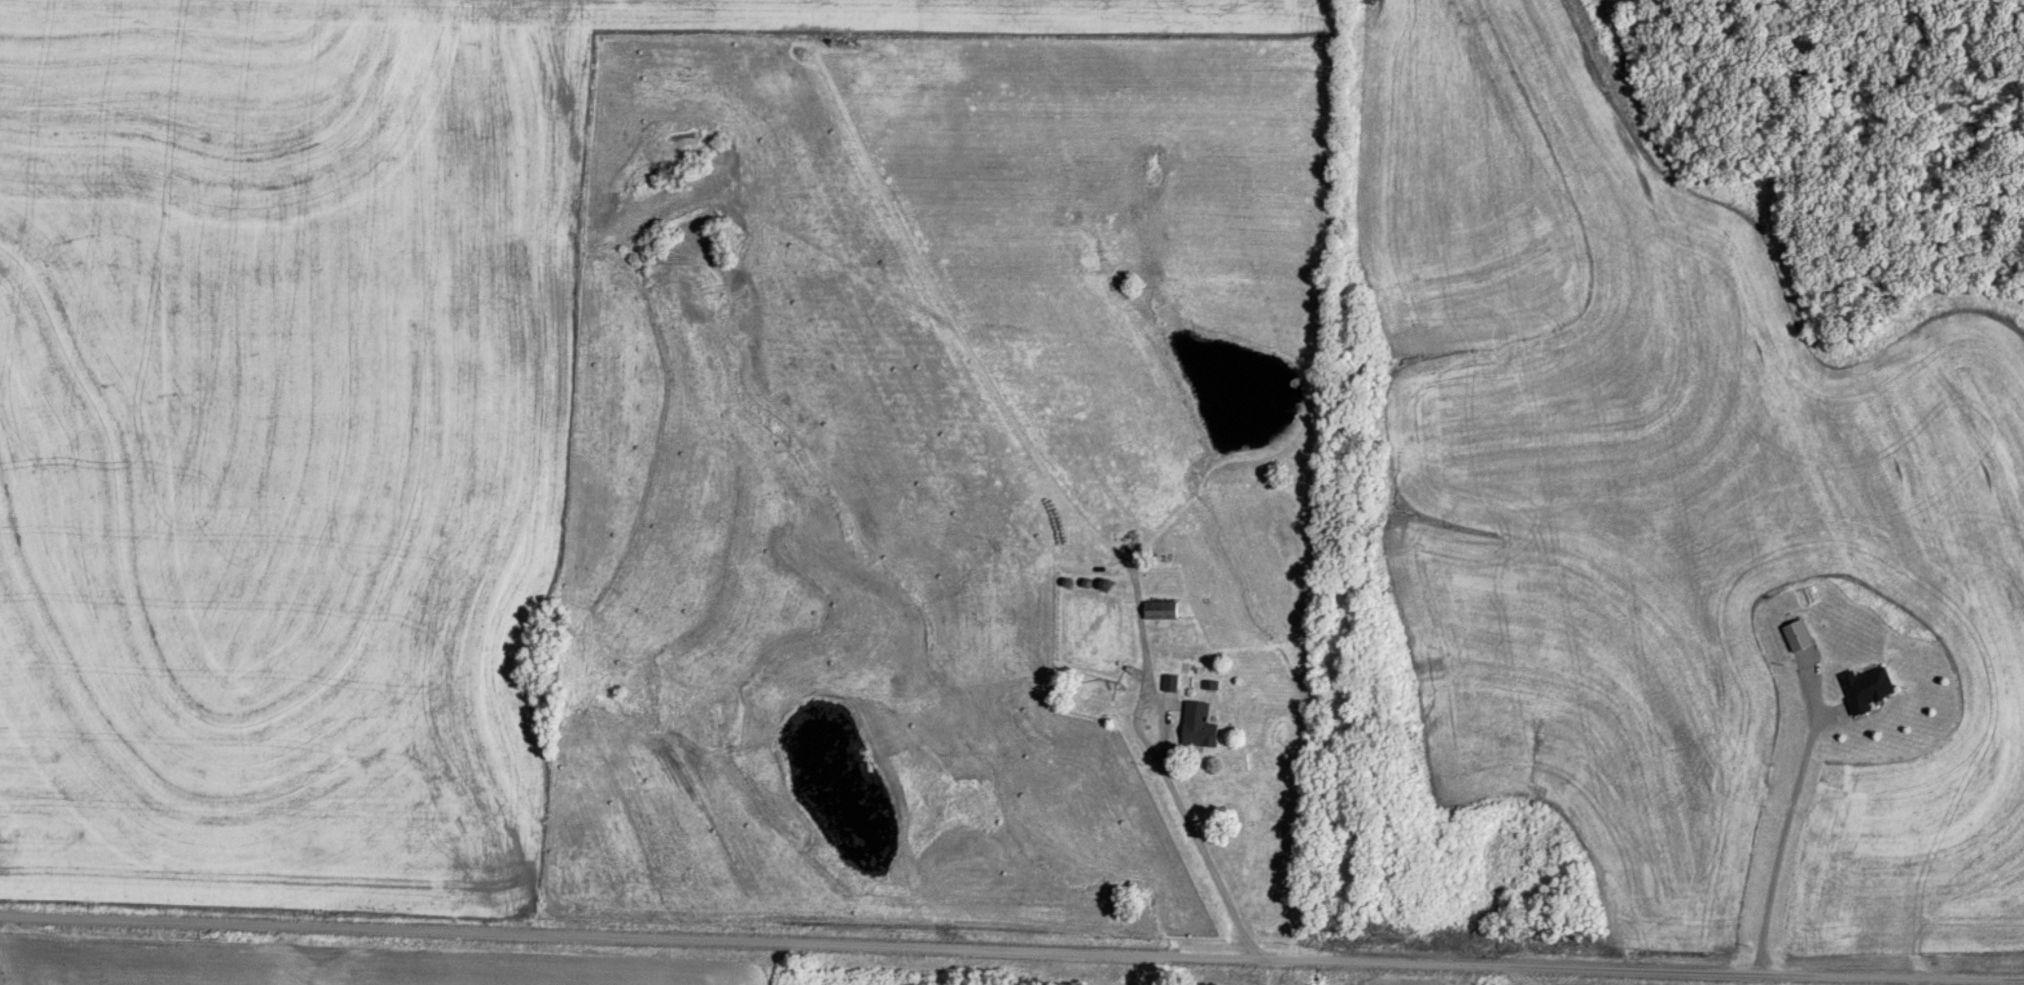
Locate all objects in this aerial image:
building: (1161, 610)
building: (1171, 683)
building: (1211, 685)
building: (1869, 688)
building: (1199, 726)
road: (1198, 842)
road: (1011, 948)

